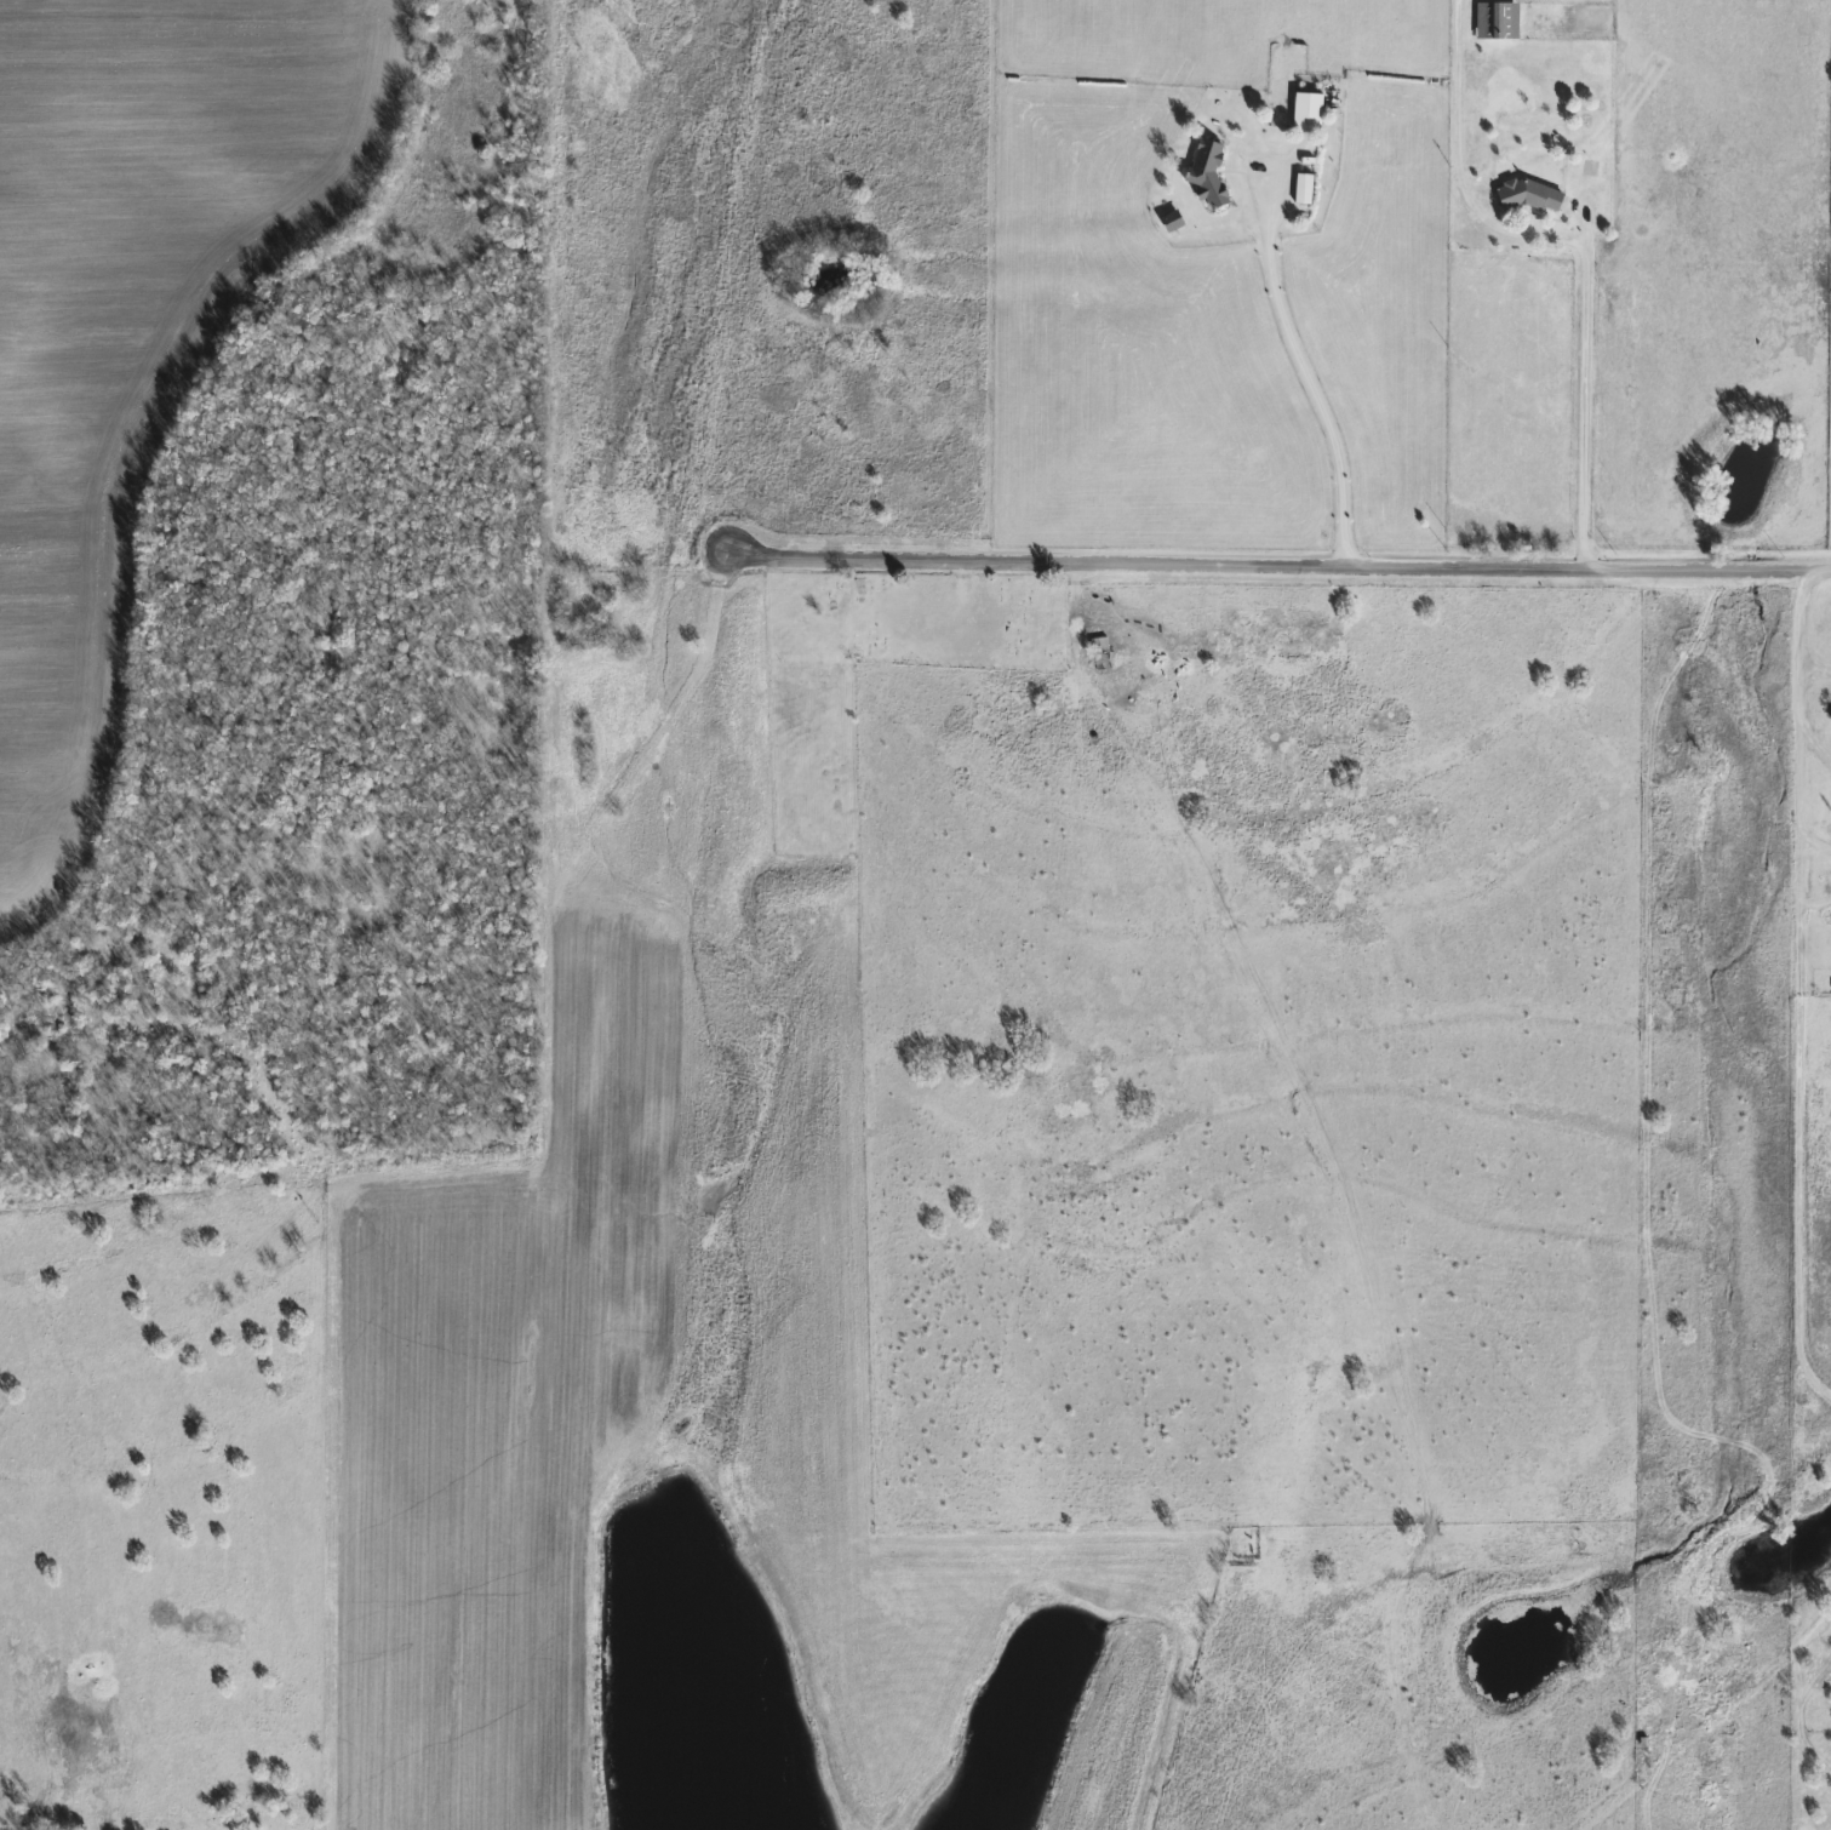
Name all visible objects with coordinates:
building: (1494, 21)
building: (1305, 111)
building: (1206, 177)
building: (1300, 189)
building: (1529, 196)
road: (1573, 245)
road: (1305, 377)
road: (825, 561)
road: (1378, 567)
road: (1798, 962)

